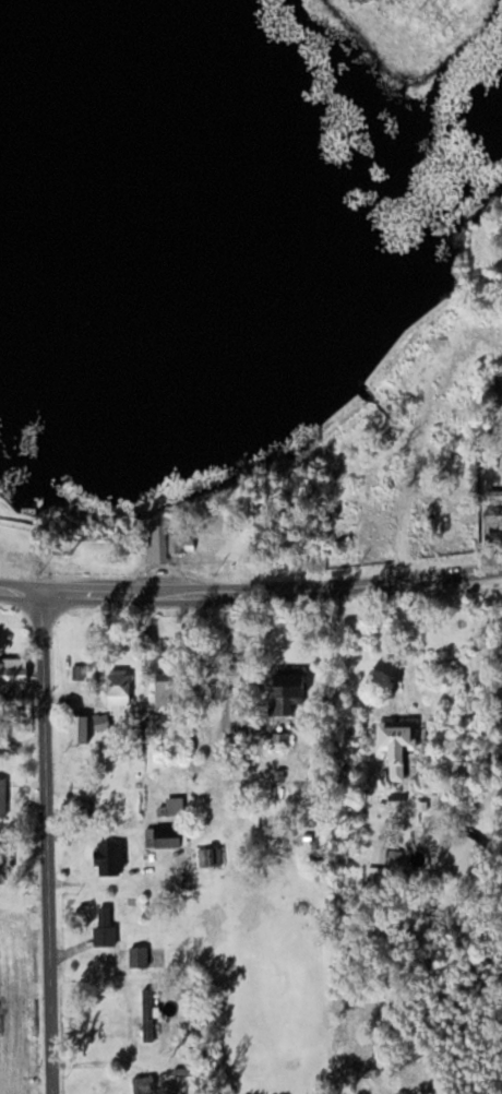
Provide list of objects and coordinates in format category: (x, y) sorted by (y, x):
building: (495, 496)
building: (493, 523)
building: (2, 525)
building: (158, 543)
building: (177, 543)
road: (275, 586)
road: (24, 587)
building: (16, 671)
building: (121, 683)
building: (291, 688)
building: (170, 690)
building: (104, 721)
building: (83, 728)
building: (401, 744)
building: (4, 796)
building: (177, 805)
building: (167, 835)
road: (48, 842)
building: (386, 852)
building: (465, 854)
building: (211, 855)
building: (112, 857)
building: (382, 875)
building: (107, 925)
building: (142, 956)
building: (148, 1013)
building: (146, 1084)

